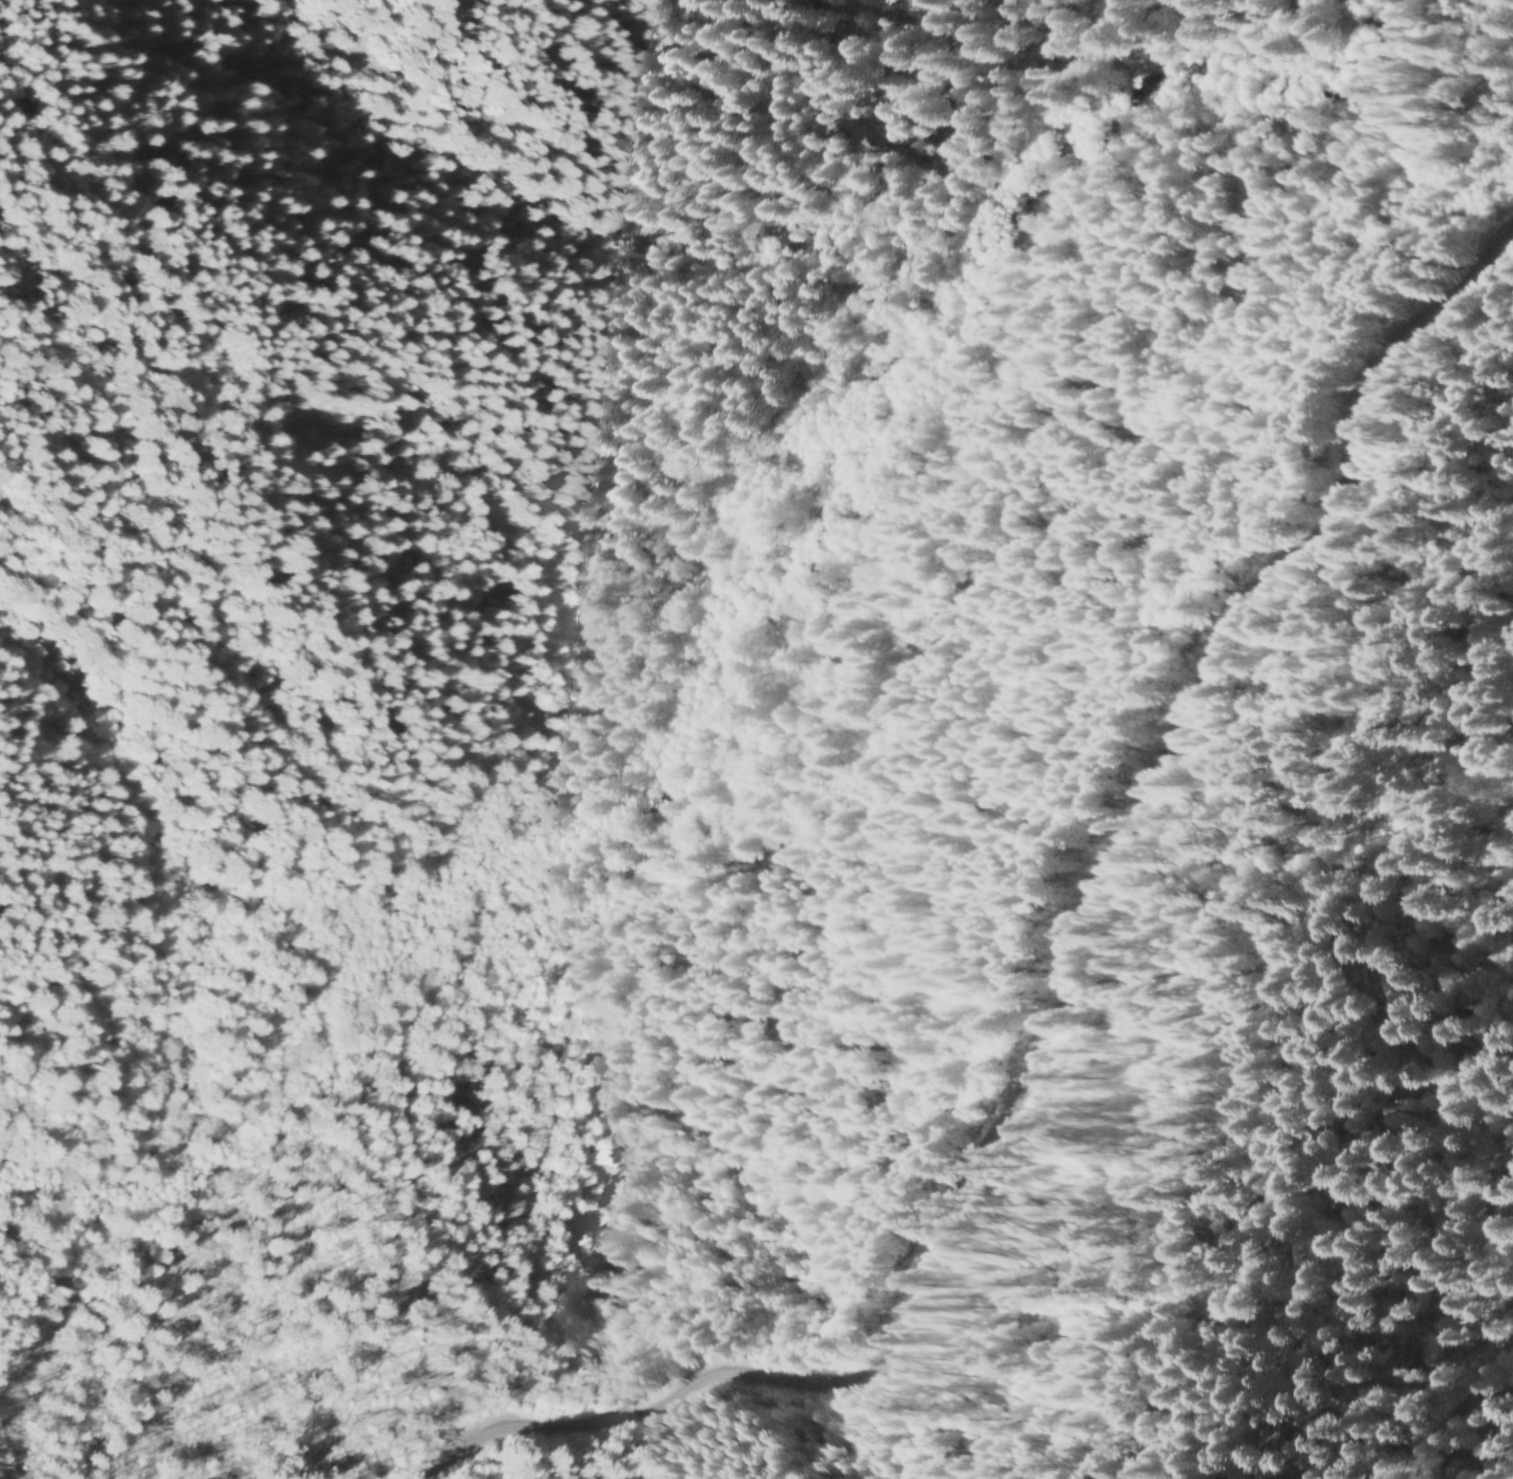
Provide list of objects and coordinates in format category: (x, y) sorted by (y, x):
road: (1039, 523)
road: (804, 677)
road: (1049, 981)

